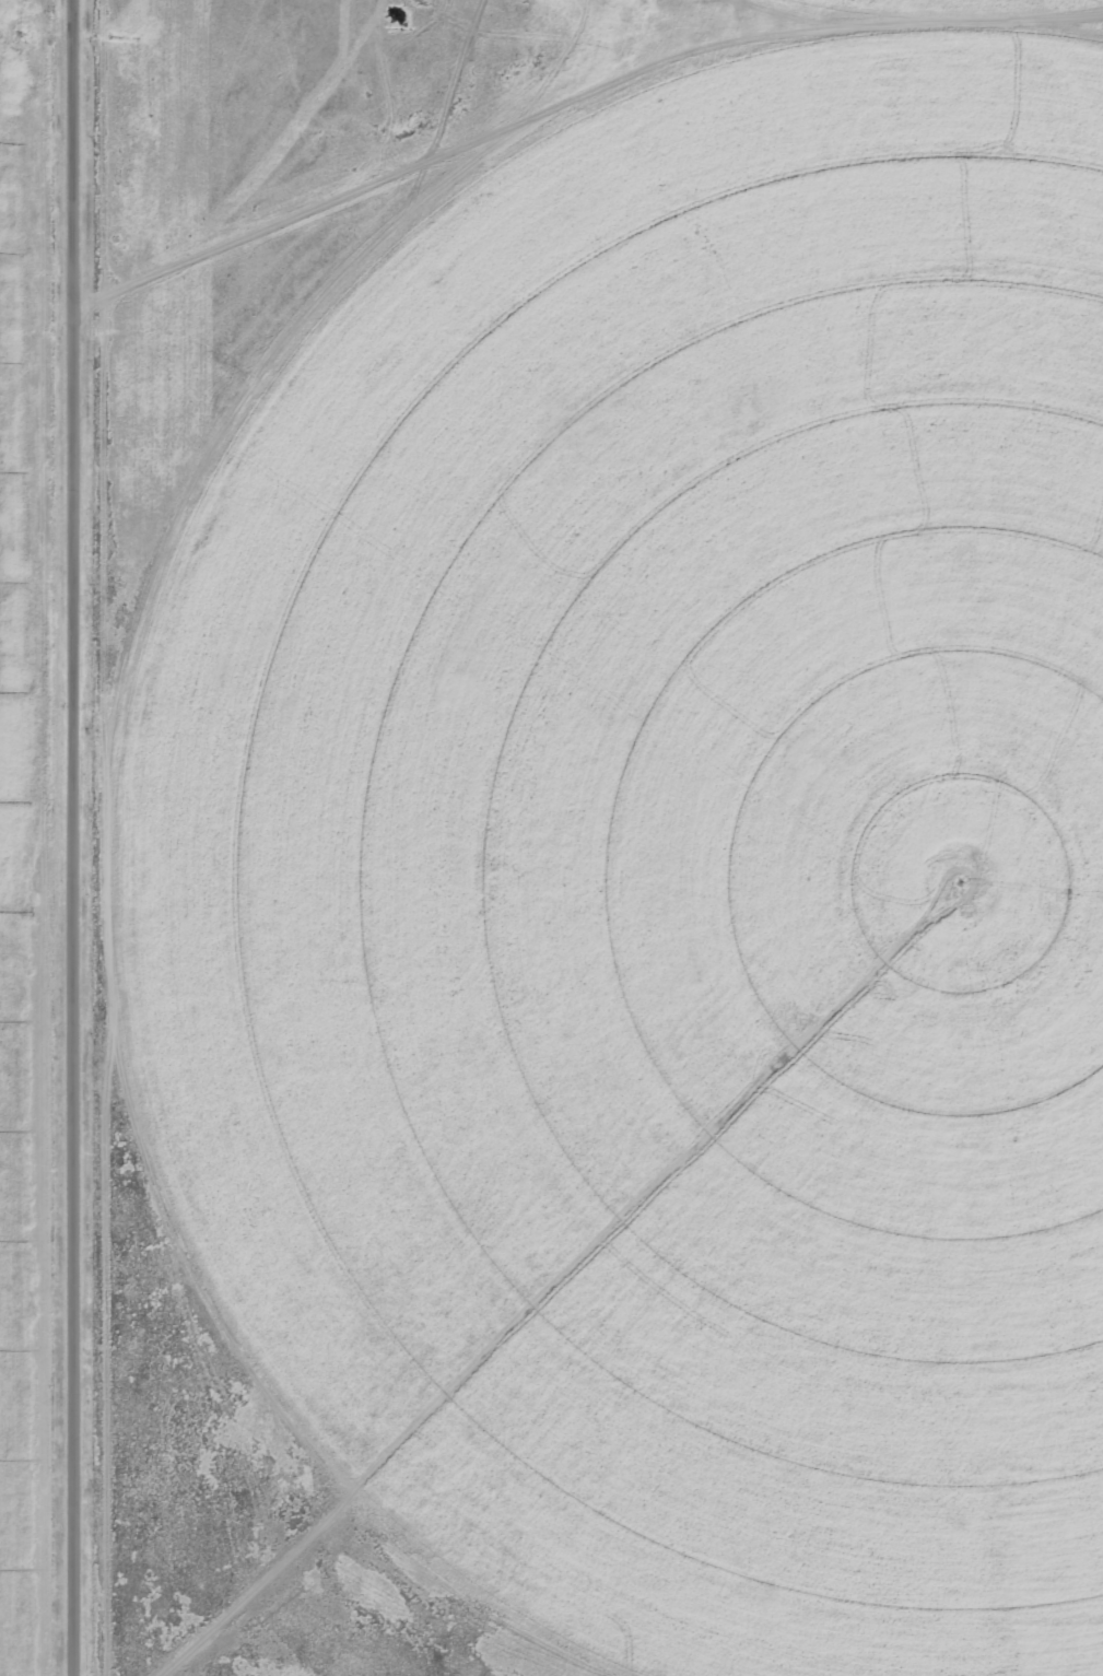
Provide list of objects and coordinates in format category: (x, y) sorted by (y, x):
road: (74, 837)

